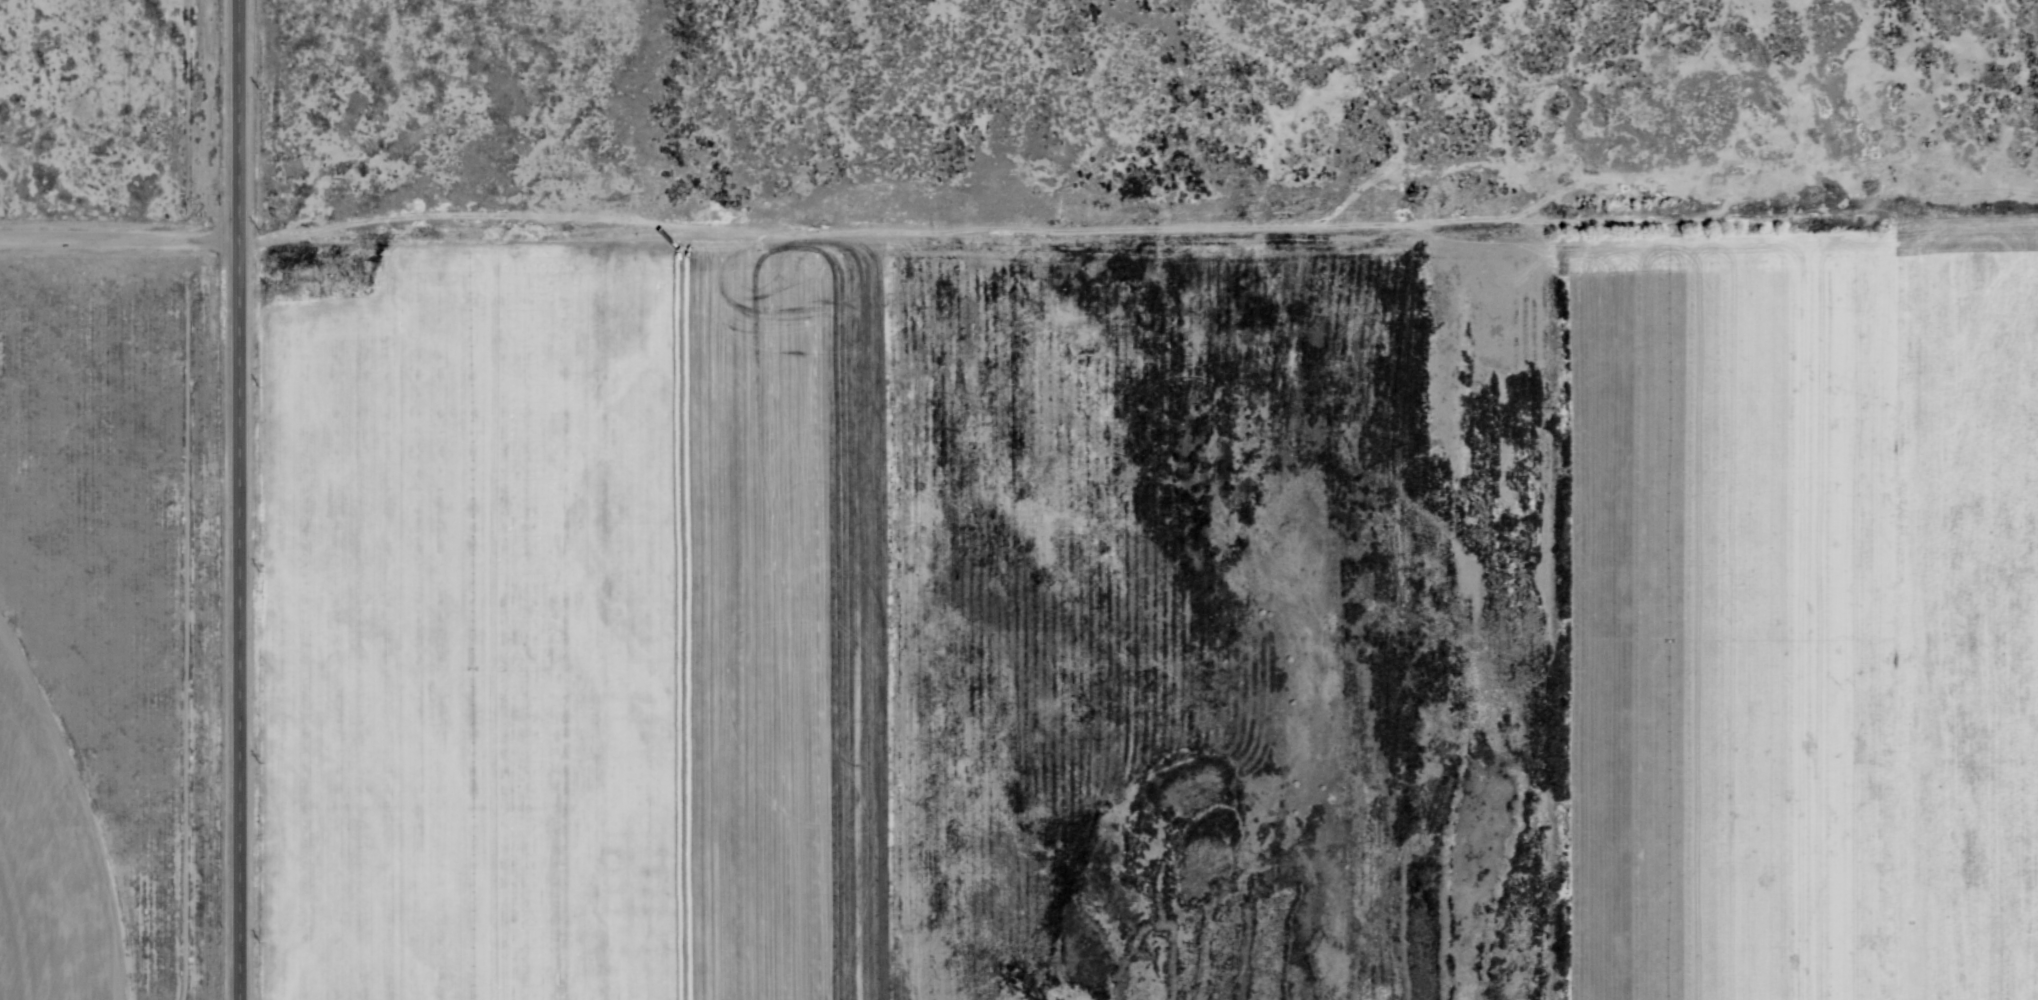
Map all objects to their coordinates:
road: (104, 214)
road: (997, 217)
road: (218, 500)
crop: (566, 610)
crop: (1794, 616)
crop: (47, 863)

